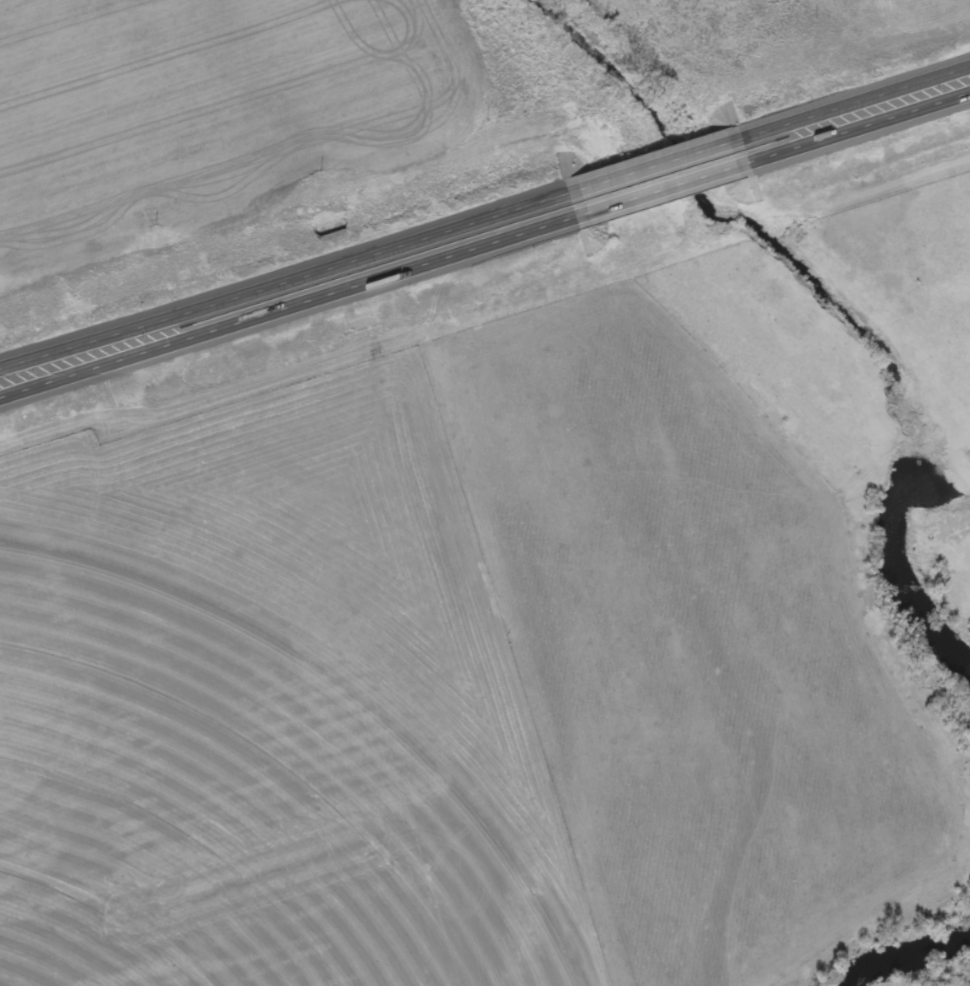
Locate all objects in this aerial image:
road: (853, 105)
road: (859, 132)
road: (651, 168)
road: (662, 194)
road: (282, 279)
road: (288, 317)

